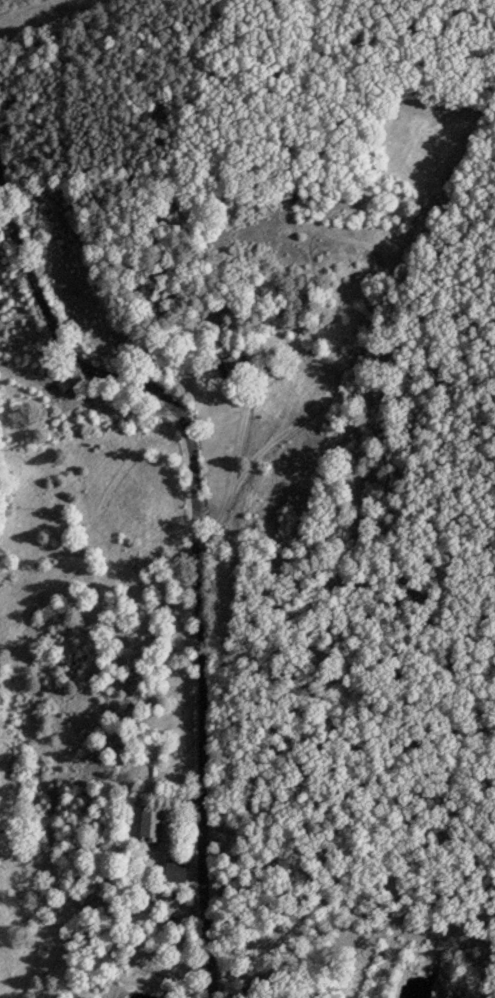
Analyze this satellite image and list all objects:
building: (235, 365)
road: (197, 550)
building: (151, 825)
building: (177, 872)

